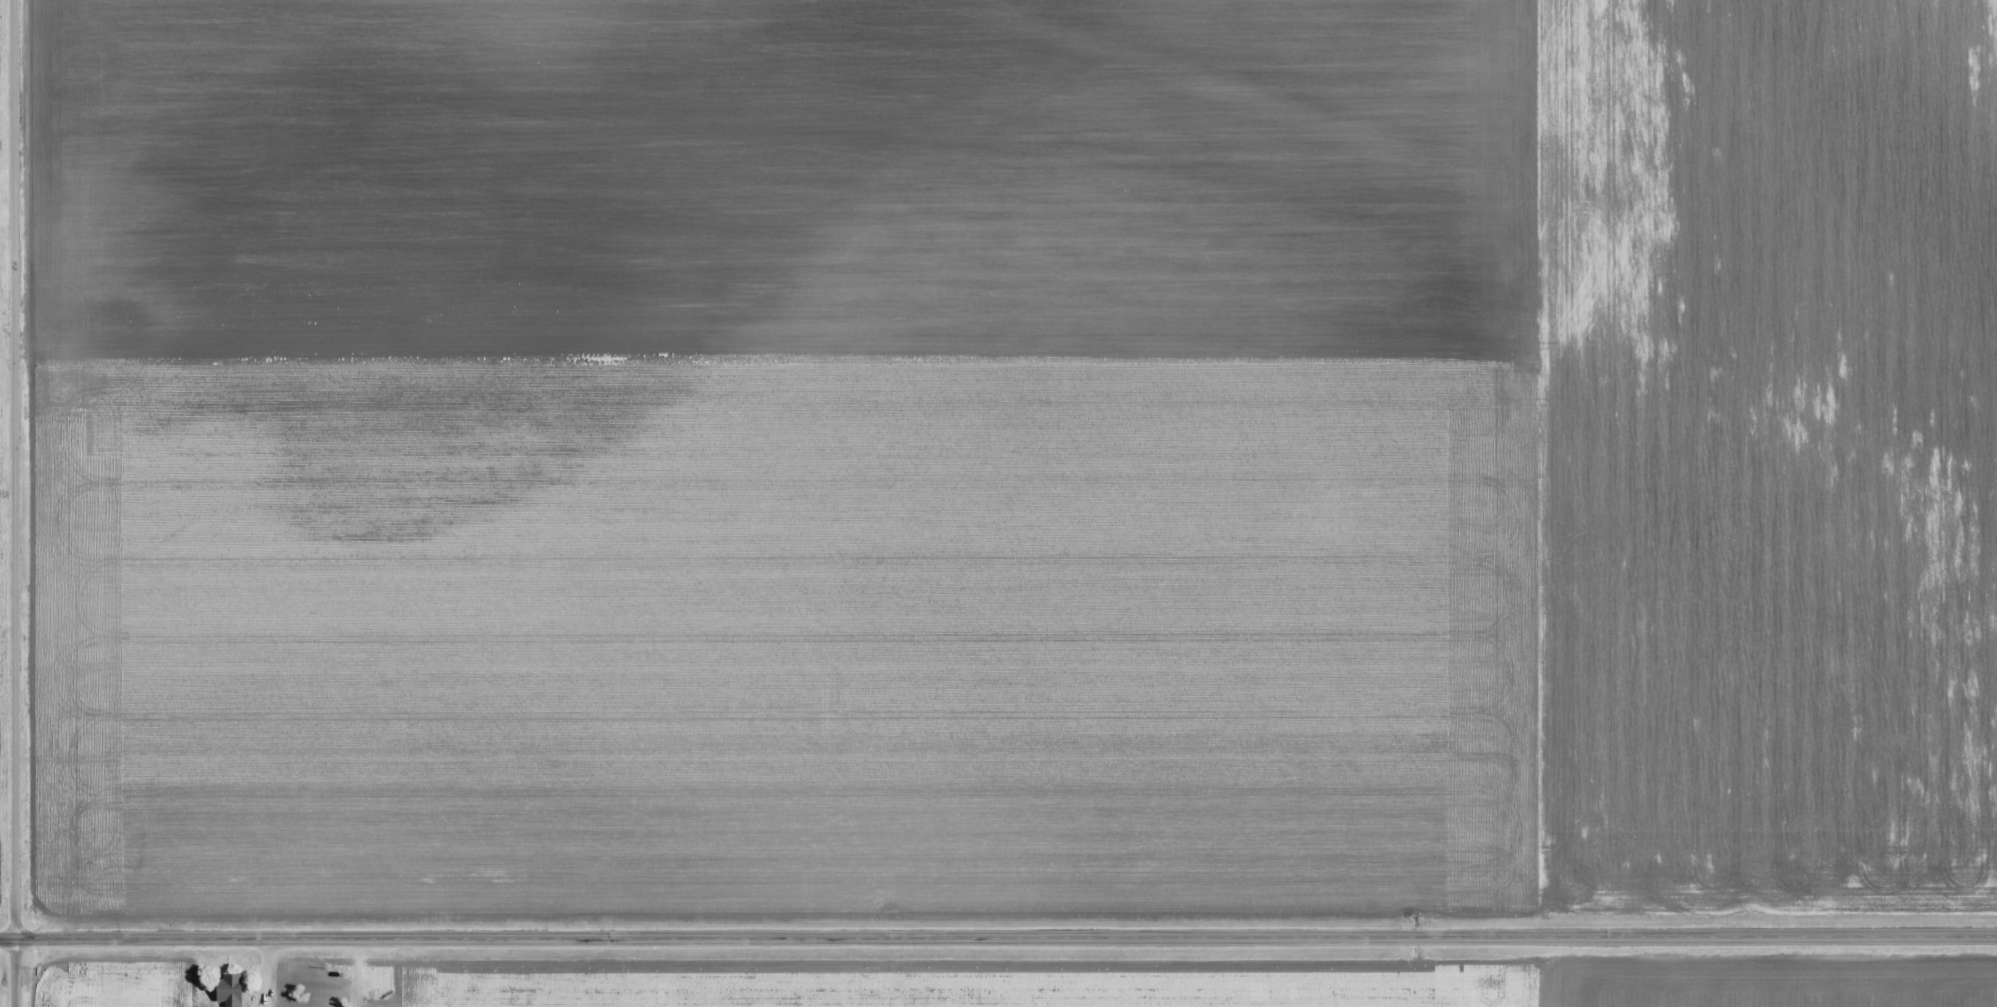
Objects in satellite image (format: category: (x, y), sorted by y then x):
road: (13, 503)
road: (998, 937)
building: (380, 978)
building: (229, 990)

